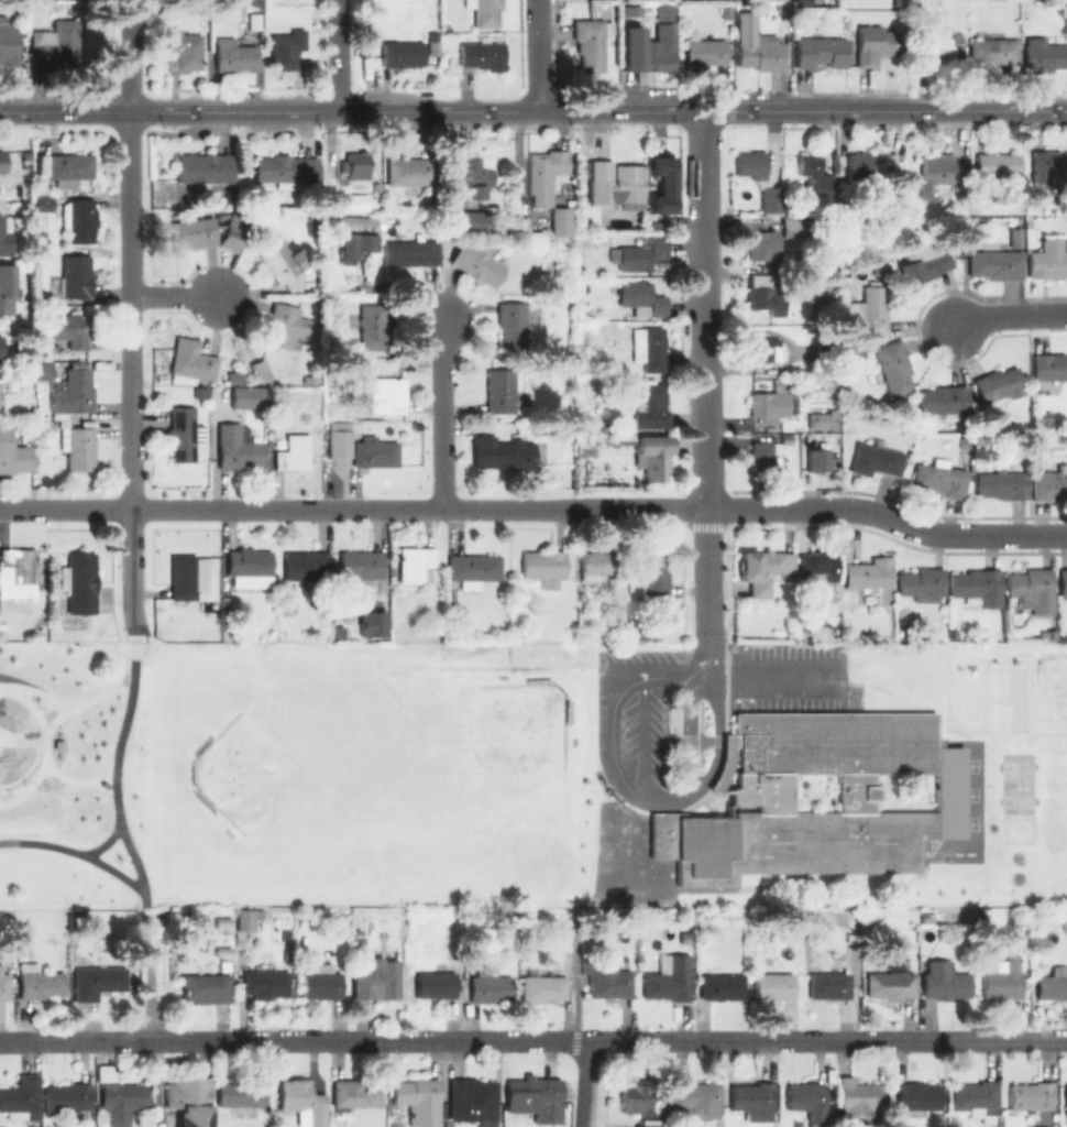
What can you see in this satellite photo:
building: (898, 1)
building: (663, 9)
building: (726, 11)
building: (485, 12)
building: (783, 29)
building: (56, 42)
building: (591, 42)
building: (8, 43)
building: (875, 43)
building: (945, 44)
building: (647, 46)
building: (286, 47)
building: (183, 50)
building: (822, 51)
building: (403, 52)
building: (991, 52)
building: (482, 53)
building: (704, 53)
building: (760, 54)
building: (1044, 55)
building: (235, 56)
road: (338, 56)
road: (538, 56)
road: (847, 111)
road: (987, 111)
road: (394, 112)
building: (1, 161)
building: (356, 163)
building: (752, 163)
building: (41, 164)
building: (997, 164)
building: (859, 165)
building: (68, 167)
building: (204, 167)
building: (1045, 167)
building: (284, 169)
building: (409, 171)
building: (814, 172)
building: (475, 173)
building: (543, 173)
building: (937, 174)
building: (663, 179)
building: (619, 184)
building: (772, 198)
building: (44, 203)
building: (78, 218)
building: (560, 219)
building: (472, 220)
building: (312, 222)
building: (958, 225)
building: (796, 227)
building: (193, 231)
building: (4, 233)
building: (356, 236)
building: (1016, 236)
building: (1028, 236)
building: (231, 238)
building: (761, 243)
building: (410, 251)
building: (640, 253)
building: (924, 260)
building: (1047, 260)
building: (283, 262)
building: (476, 262)
building: (996, 264)
building: (75, 275)
building: (5, 287)
building: (766, 294)
road: (174, 296)
building: (640, 296)
building: (825, 302)
road: (706, 310)
building: (870, 310)
road: (1008, 316)
road: (132, 317)
building: (513, 322)
building: (371, 325)
building: (284, 326)
building: (71, 330)
building: (0, 346)
building: (648, 347)
building: (763, 348)
building: (828, 350)
building: (858, 351)
building: (190, 361)
building: (1048, 365)
building: (41, 366)
building: (894, 366)
building: (260, 368)
building: (309, 381)
building: (997, 386)
building: (822, 389)
building: (201, 391)
building: (71, 392)
building: (501, 392)
building: (277, 395)
building: (253, 396)
building: (386, 396)
building: (942, 401)
building: (769, 406)
building: (651, 407)
road: (443, 414)
building: (825, 420)
building: (1023, 423)
building: (184, 434)
building: (338, 437)
building: (965, 441)
building: (235, 447)
building: (80, 448)
building: (291, 450)
building: (373, 451)
building: (590, 451)
building: (501, 452)
building: (13, 453)
building: (656, 455)
building: (758, 455)
building: (814, 457)
building: (875, 459)
building: (939, 479)
building: (1002, 484)
building: (1049, 485)
road: (354, 511)
road: (889, 518)
building: (248, 562)
building: (414, 563)
building: (601, 563)
building: (818, 565)
building: (306, 566)
building: (360, 566)
building: (543, 566)
building: (472, 569)
building: (761, 569)
building: (869, 572)
building: (18, 573)
building: (649, 573)
road: (708, 573)
building: (184, 577)
building: (78, 581)
building: (921, 581)
building: (1063, 582)
building: (978, 586)
building: (1033, 588)
building: (451, 598)
building: (517, 603)
building: (517, 613)
building: (76, 626)
building: (382, 627)
road: (708, 654)
parking lot: (785, 678)
road: (771, 679)
road: (2, 688)
road: (79, 704)
parking lot: (630, 713)
road: (54, 720)
road: (608, 724)
road: (689, 729)
road: (642, 735)
road: (717, 736)
road: (46, 747)
park: (1015, 765)
park: (280, 772)
road: (116, 774)
park: (449, 774)
park: (80, 775)
road: (77, 783)
building: (758, 797)
park: (1015, 801)
road: (627, 833)
road: (97, 838)
road: (75, 856)
parking lot: (627, 860)
building: (980, 917)
building: (249, 918)
building: (684, 937)
building: (21, 954)
building: (522, 955)
road: (147, 976)
building: (1003, 978)
building: (377, 980)
building: (608, 980)
building: (670, 980)
building: (98, 981)
building: (944, 981)
building: (40, 982)
building: (266, 982)
building: (891, 982)
building: (436, 983)
building: (829, 984)
building: (1053, 984)
building: (208, 985)
building: (322, 985)
building: (4, 986)
building: (488, 986)
building: (723, 986)
building: (773, 986)
building: (543, 987)
road: (574, 989)
road: (533, 1040)
road: (582, 1084)
building: (356, 1092)
building: (535, 1095)
building: (241, 1096)
building: (639, 1096)
building: (919, 1096)
building: (1030, 1096)
building: (21, 1097)
building: (122, 1097)
building: (189, 1098)
building: (977, 1098)
building: (67, 1099)
building: (420, 1099)
building: (696, 1099)
building: (752, 1099)
building: (858, 1099)
building: (1066, 1099)
building: (474, 1101)
building: (809, 1101)
building: (302, 1102)
building: (651, 1123)
building: (1039, 1126)

